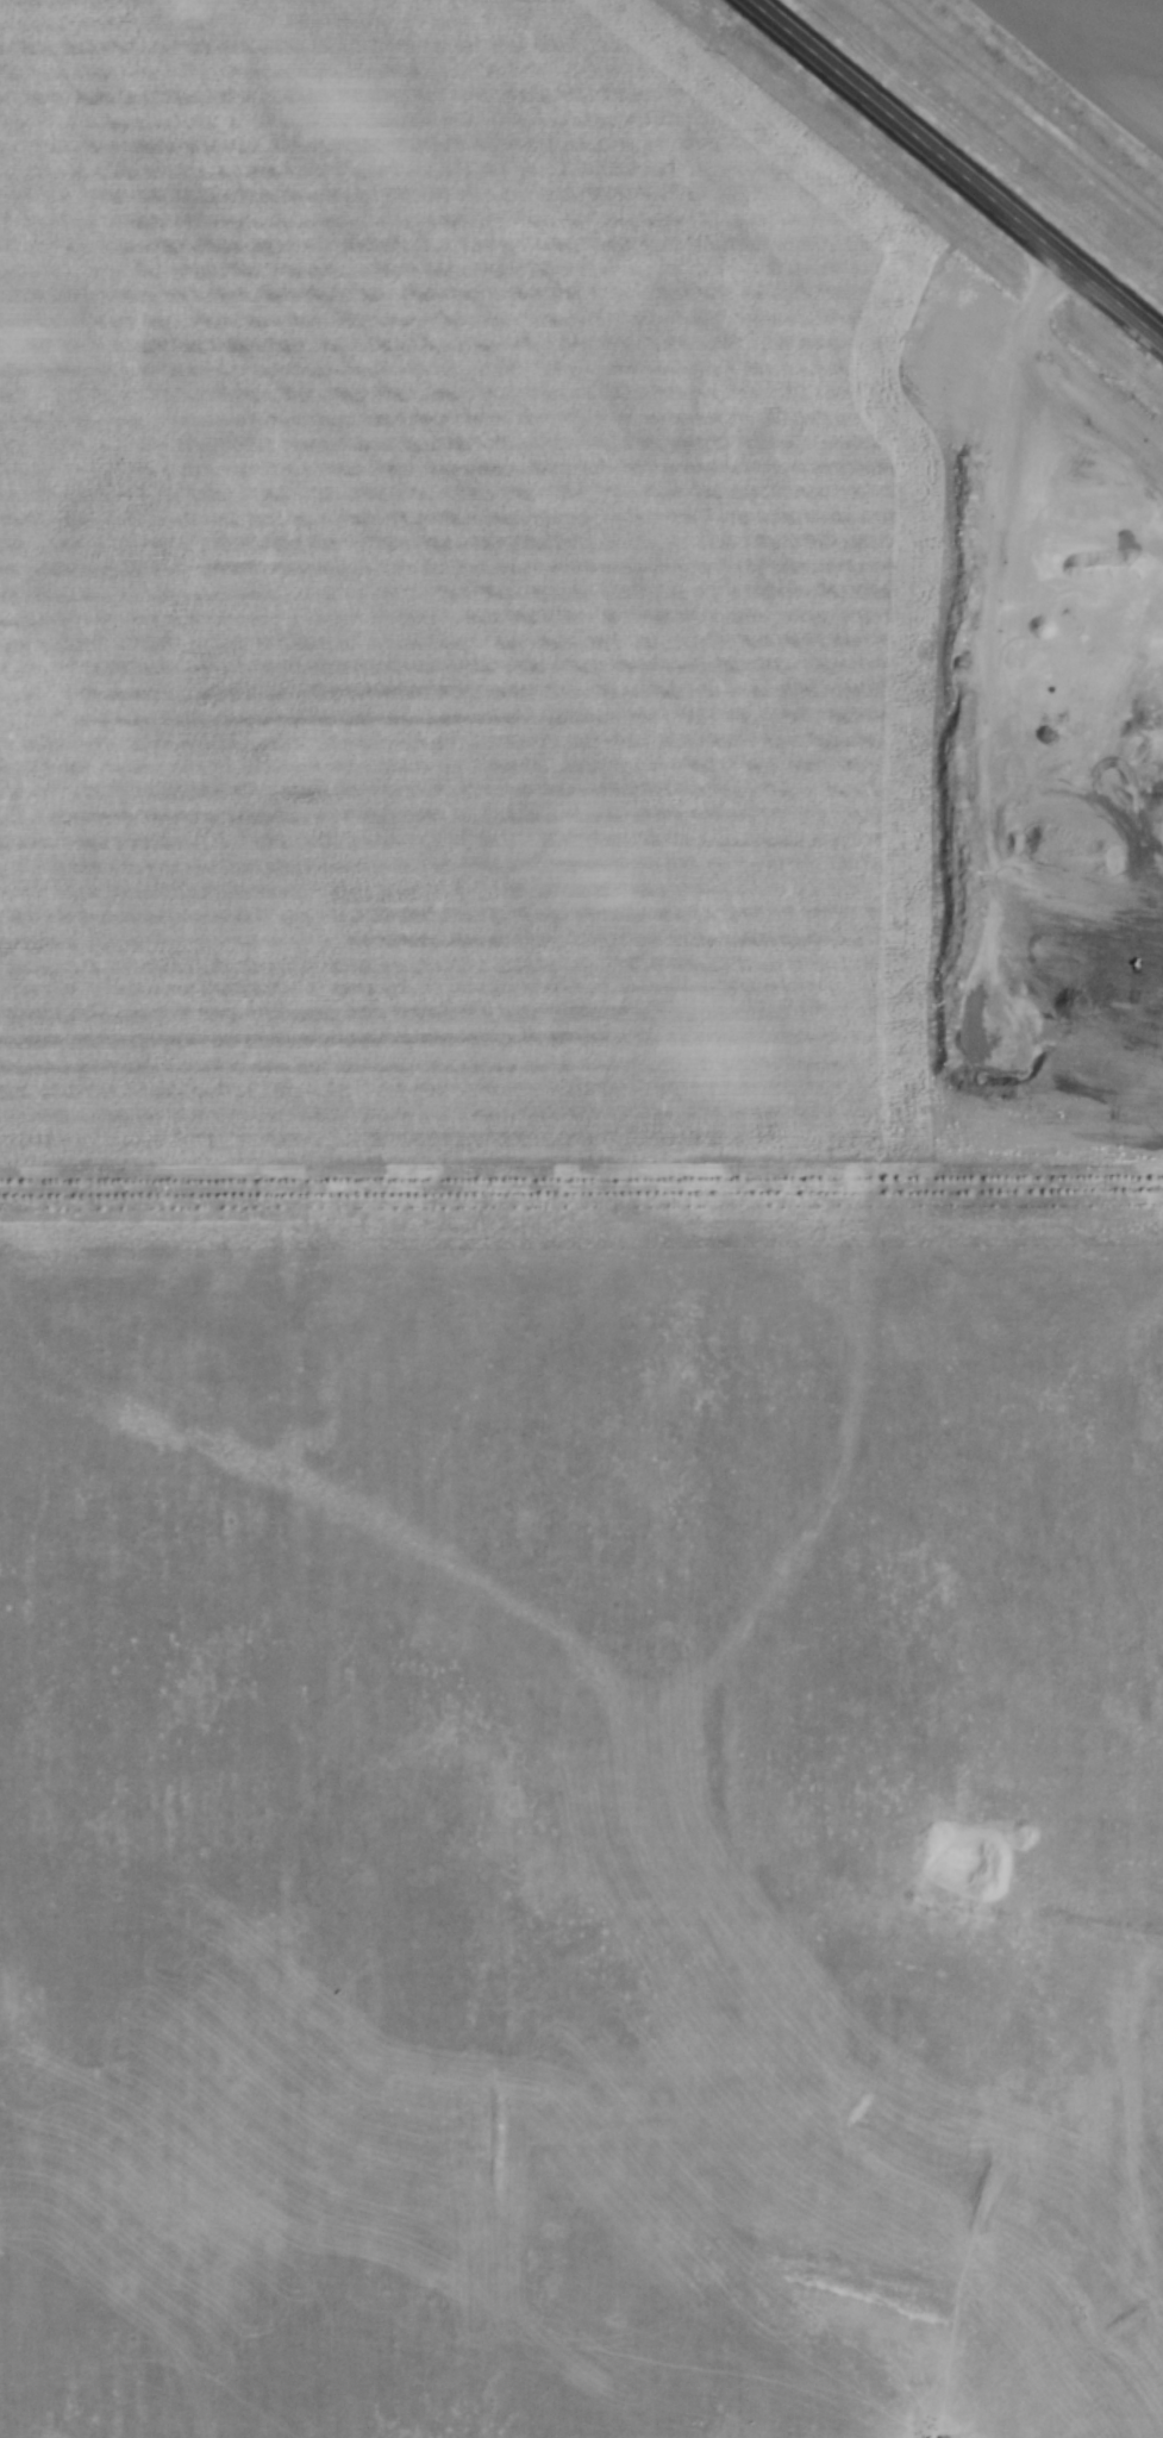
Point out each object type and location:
road: (1031, 107)
road: (957, 167)

